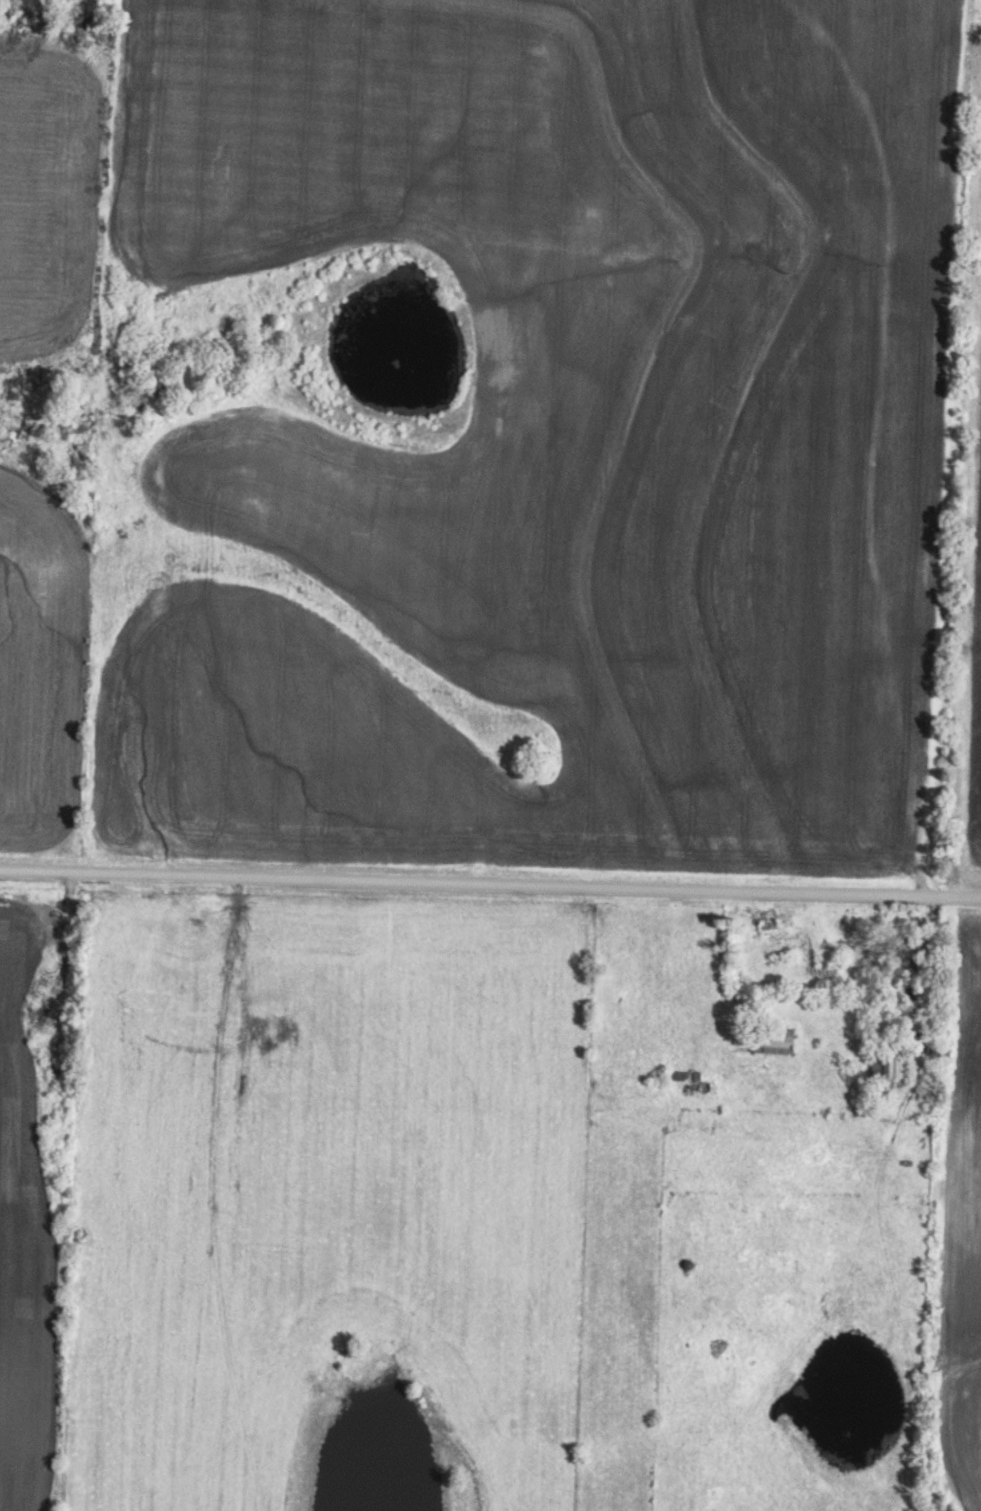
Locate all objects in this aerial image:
road: (490, 884)
building: (906, 953)
building: (771, 1040)
building: (890, 1062)
building: (927, 1084)

